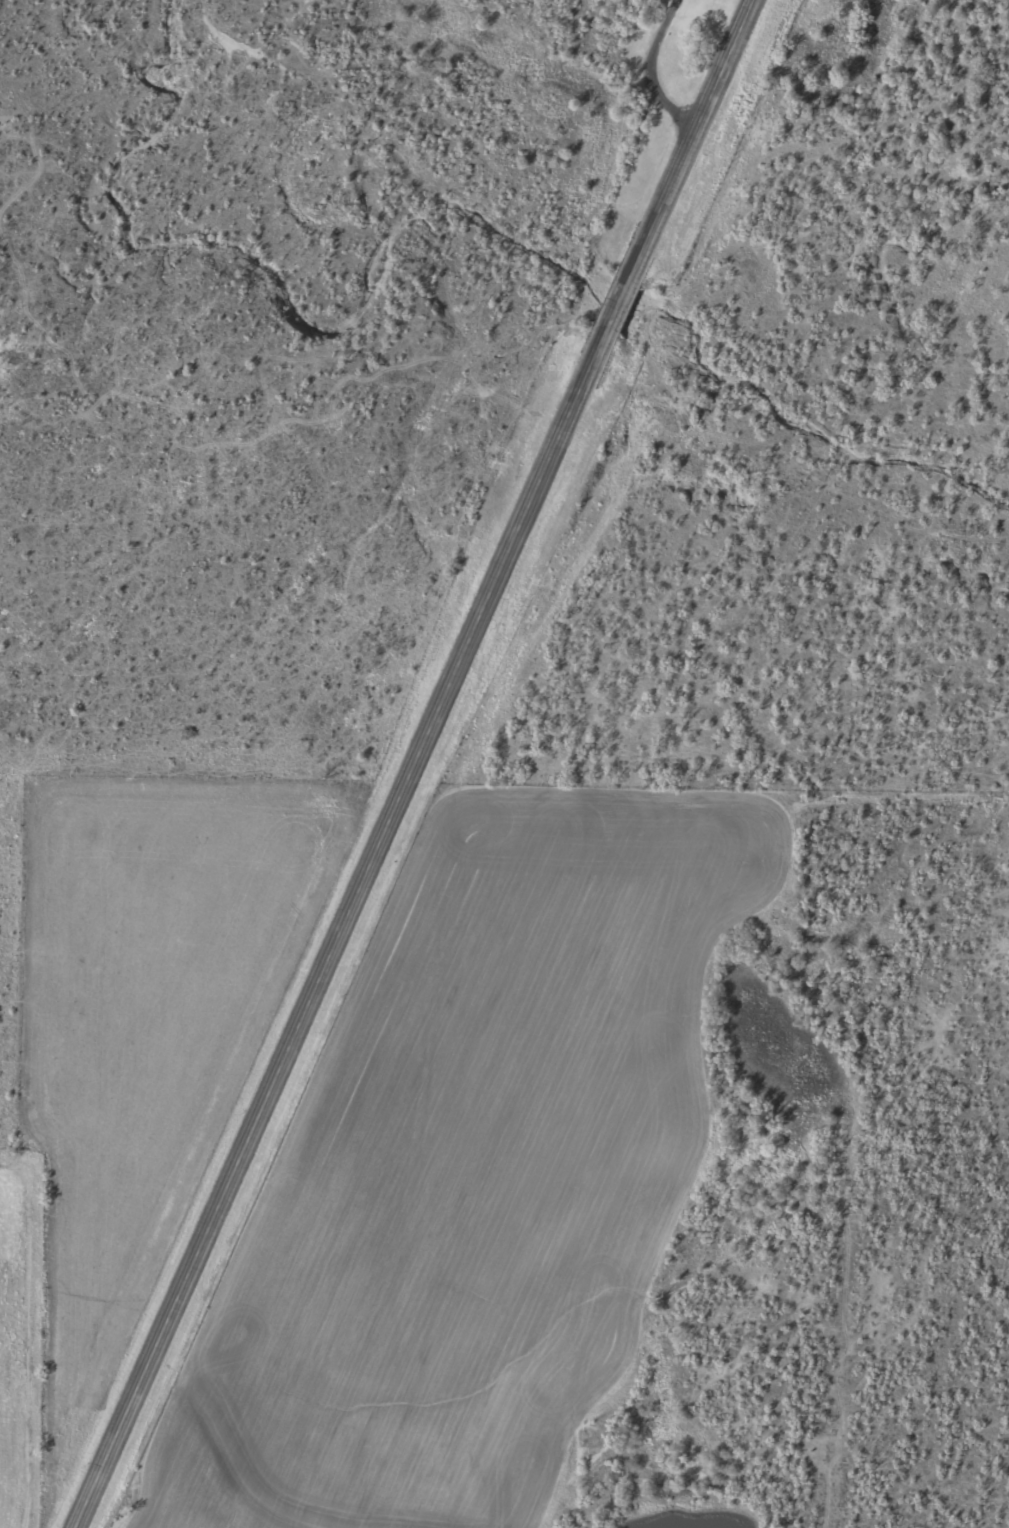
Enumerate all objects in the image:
road: (421, 764)

